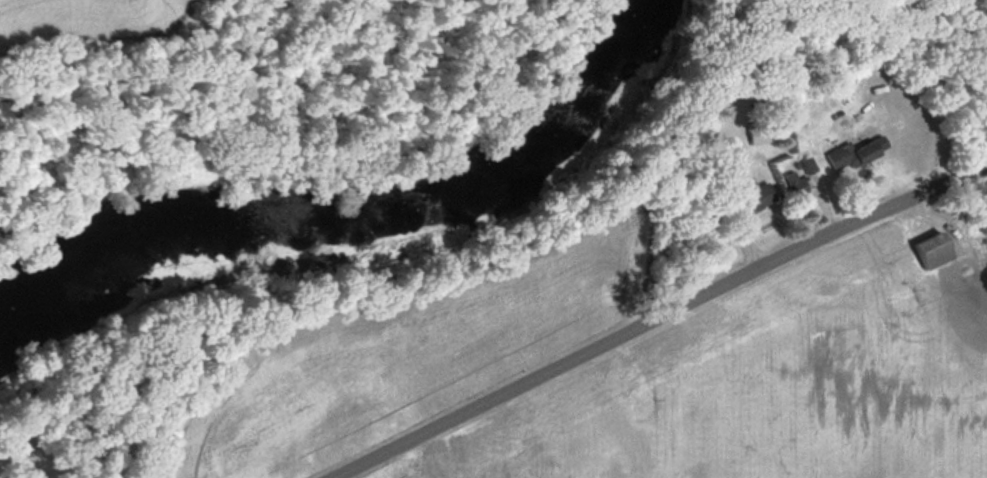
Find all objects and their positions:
building: (860, 151)
building: (809, 165)
building: (796, 183)
building: (758, 193)
river: (369, 223)
building: (935, 248)
road: (665, 321)

